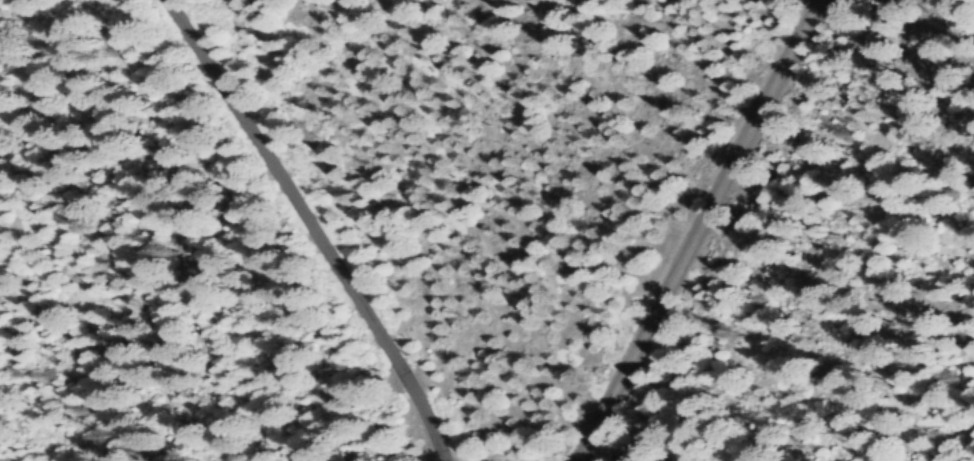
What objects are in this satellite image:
road: (309, 228)
road: (698, 231)

